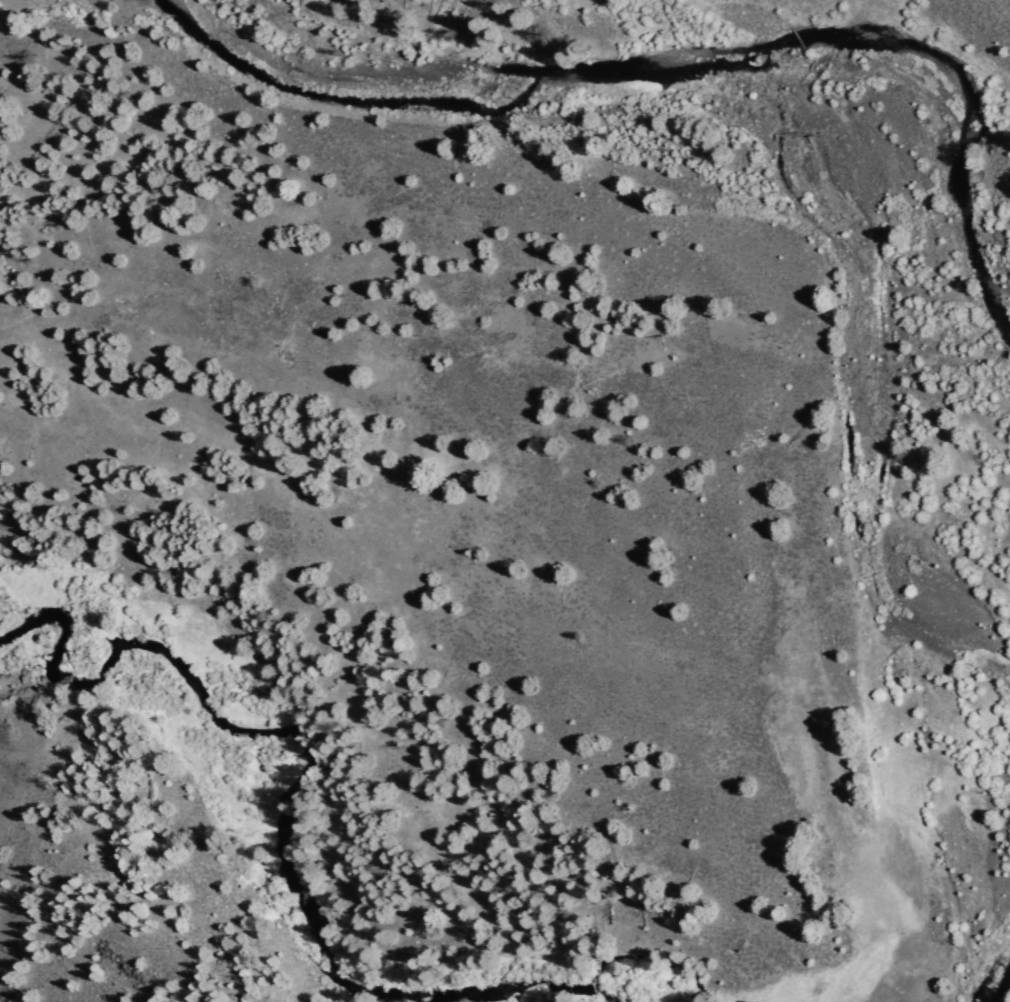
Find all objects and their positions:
river: (692, 64)
river: (986, 958)

